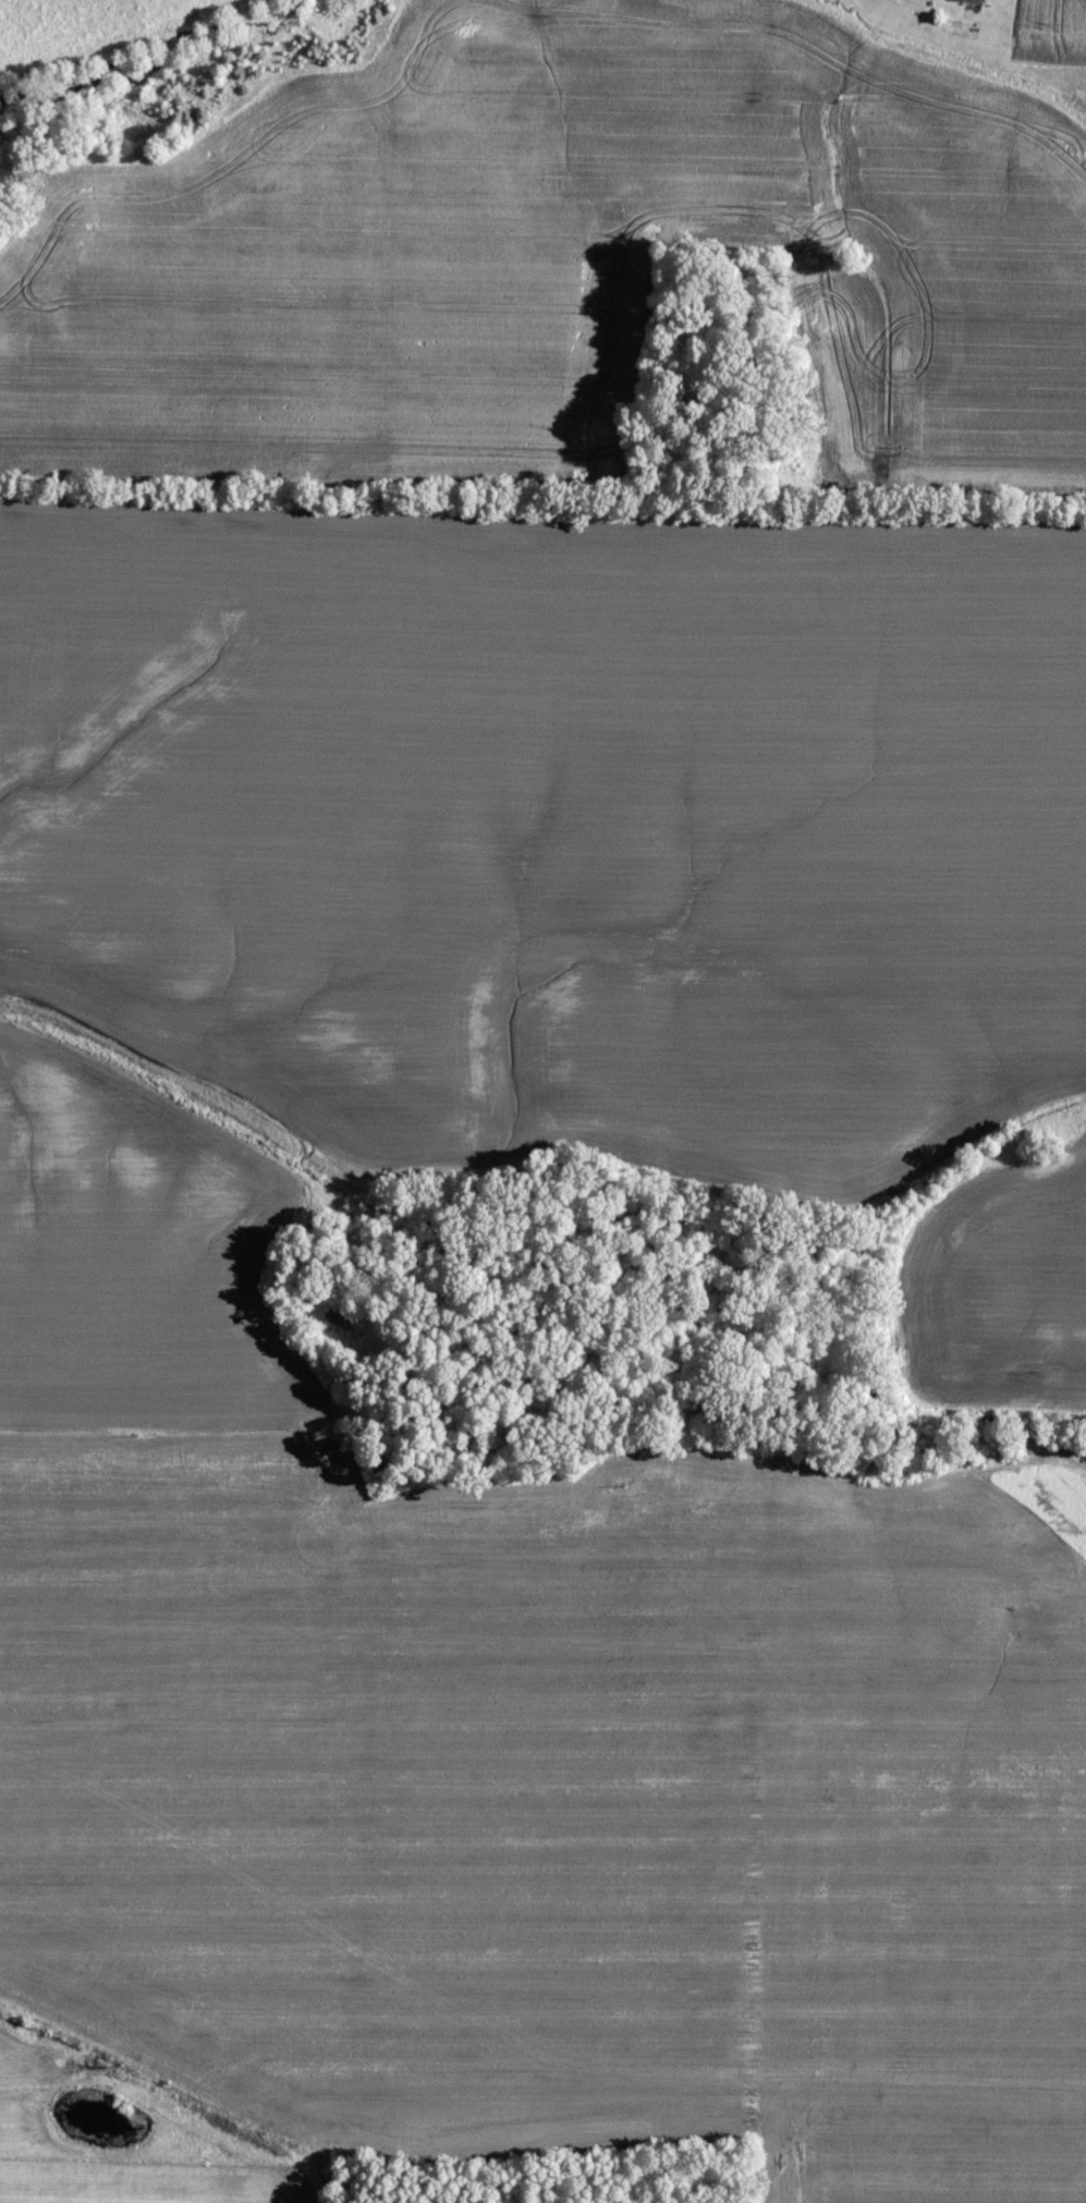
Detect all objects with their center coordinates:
building: (960, 0)

